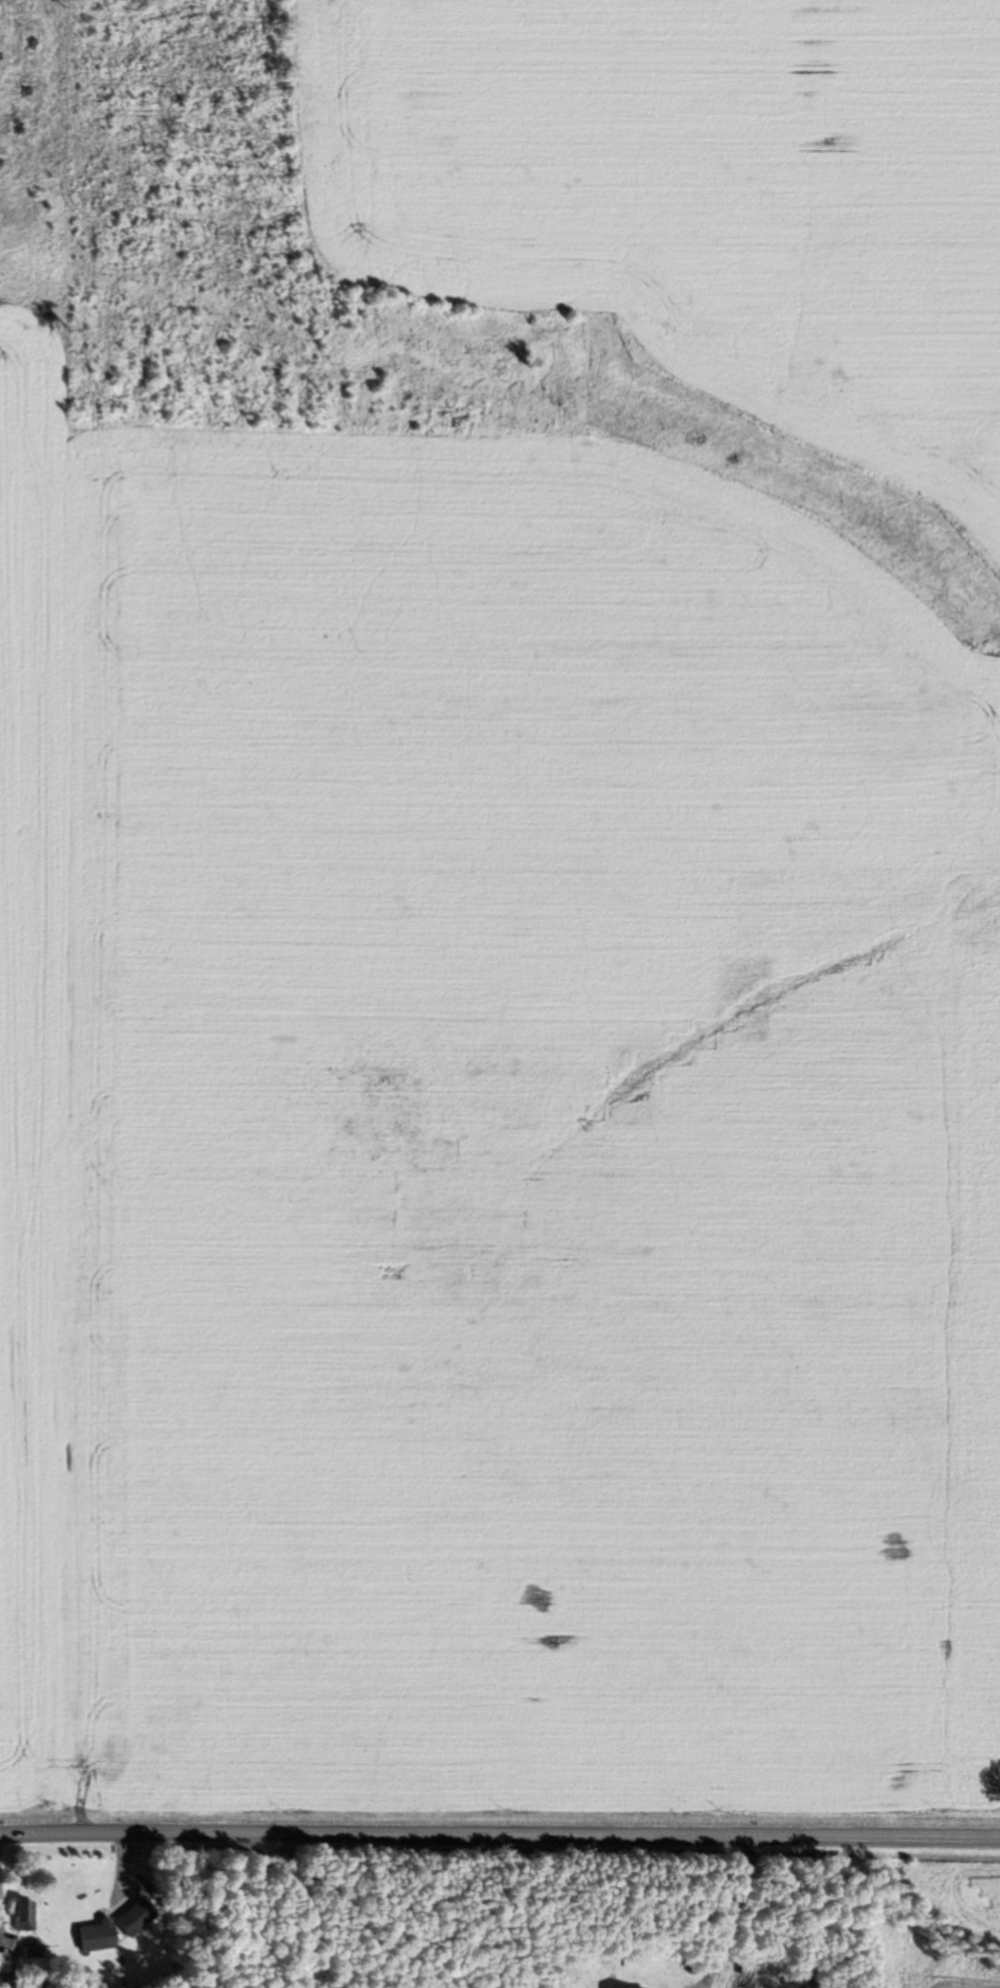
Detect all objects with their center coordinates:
road: (500, 1836)
building: (22, 1915)
building: (117, 1921)
building: (3, 1961)
building: (26, 1963)

